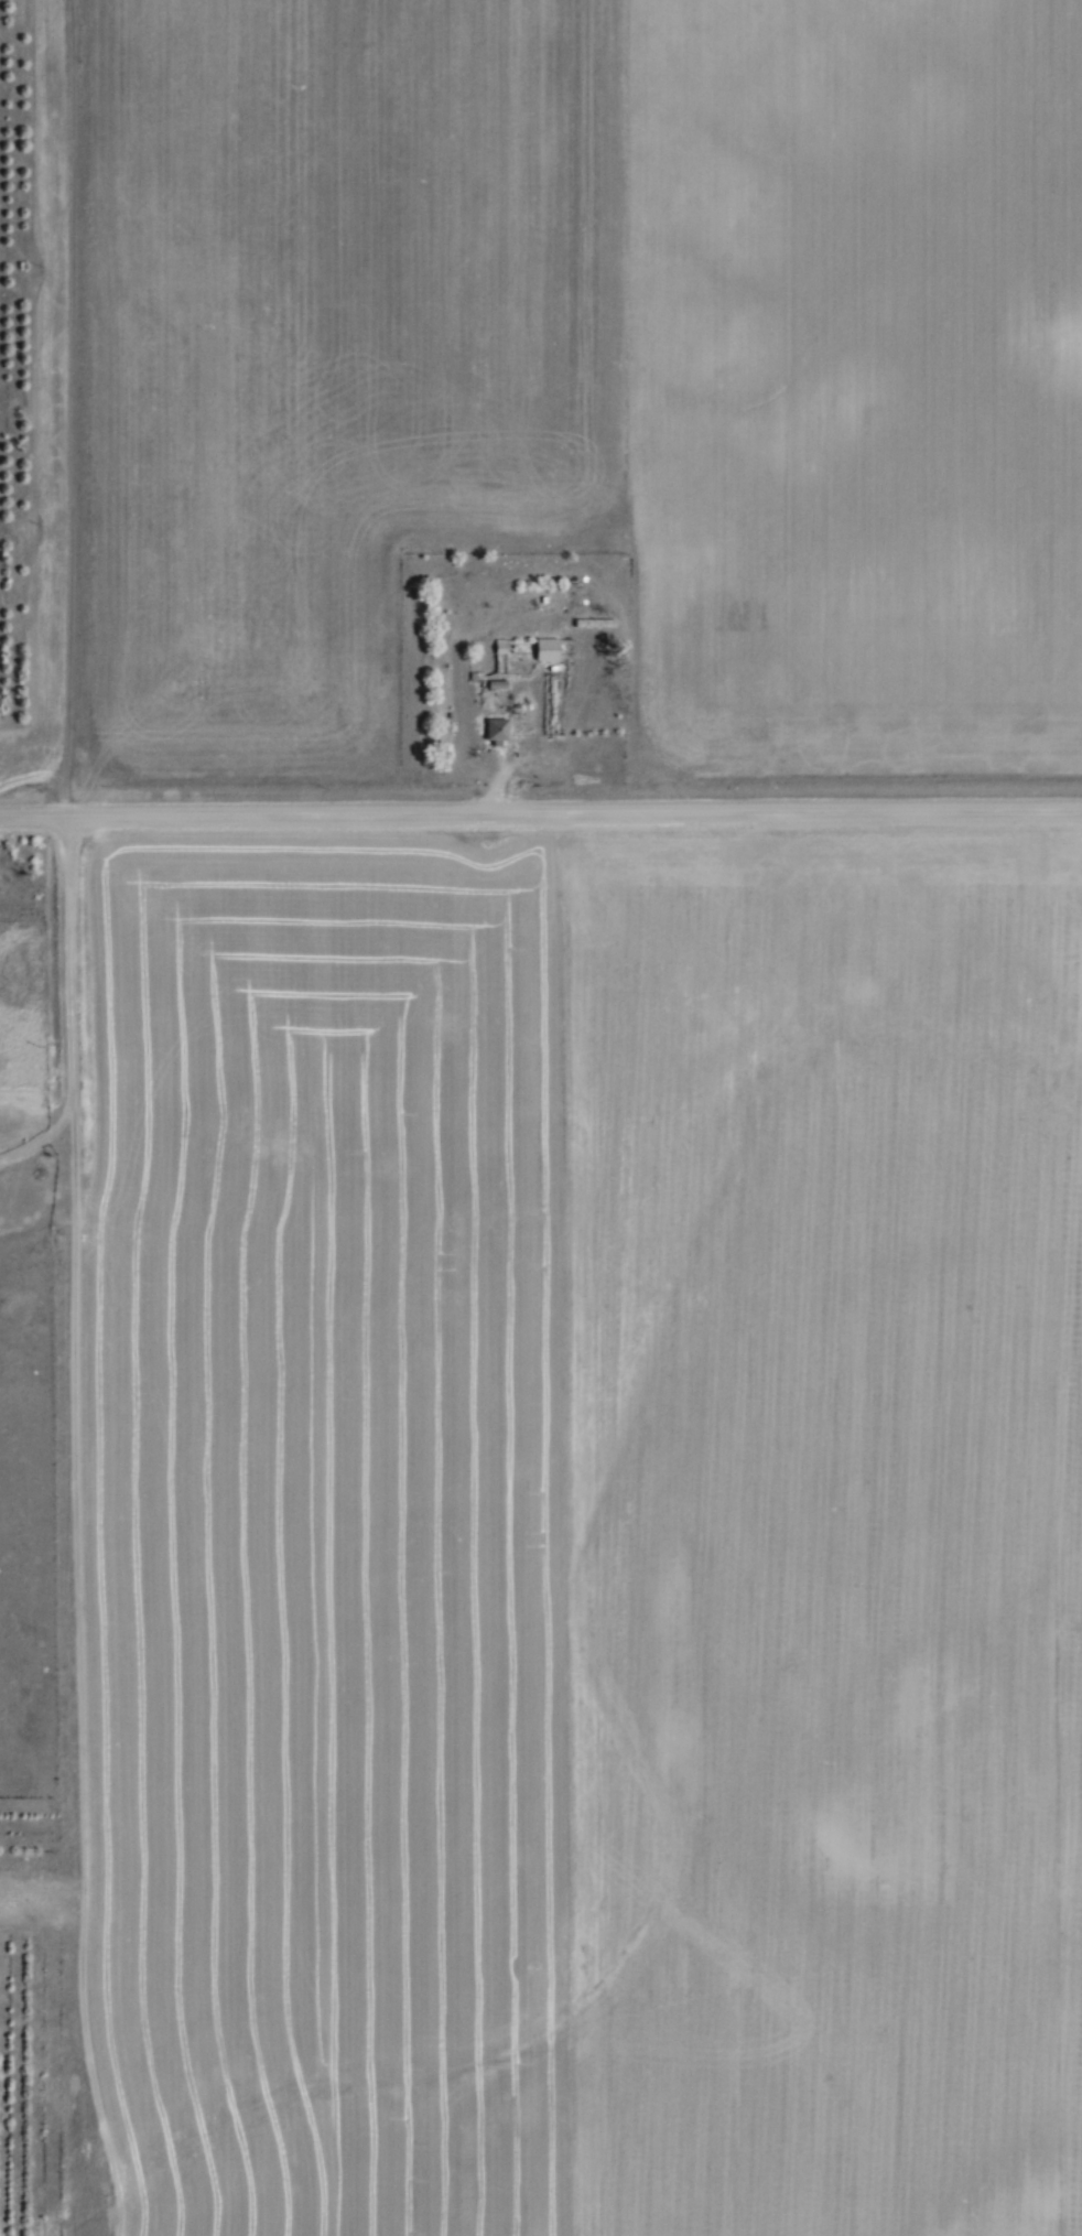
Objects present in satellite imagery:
building: (593, 615)
building: (593, 620)
building: (545, 641)
building: (497, 677)
building: (494, 723)
road: (540, 812)
road: (76, 1011)

